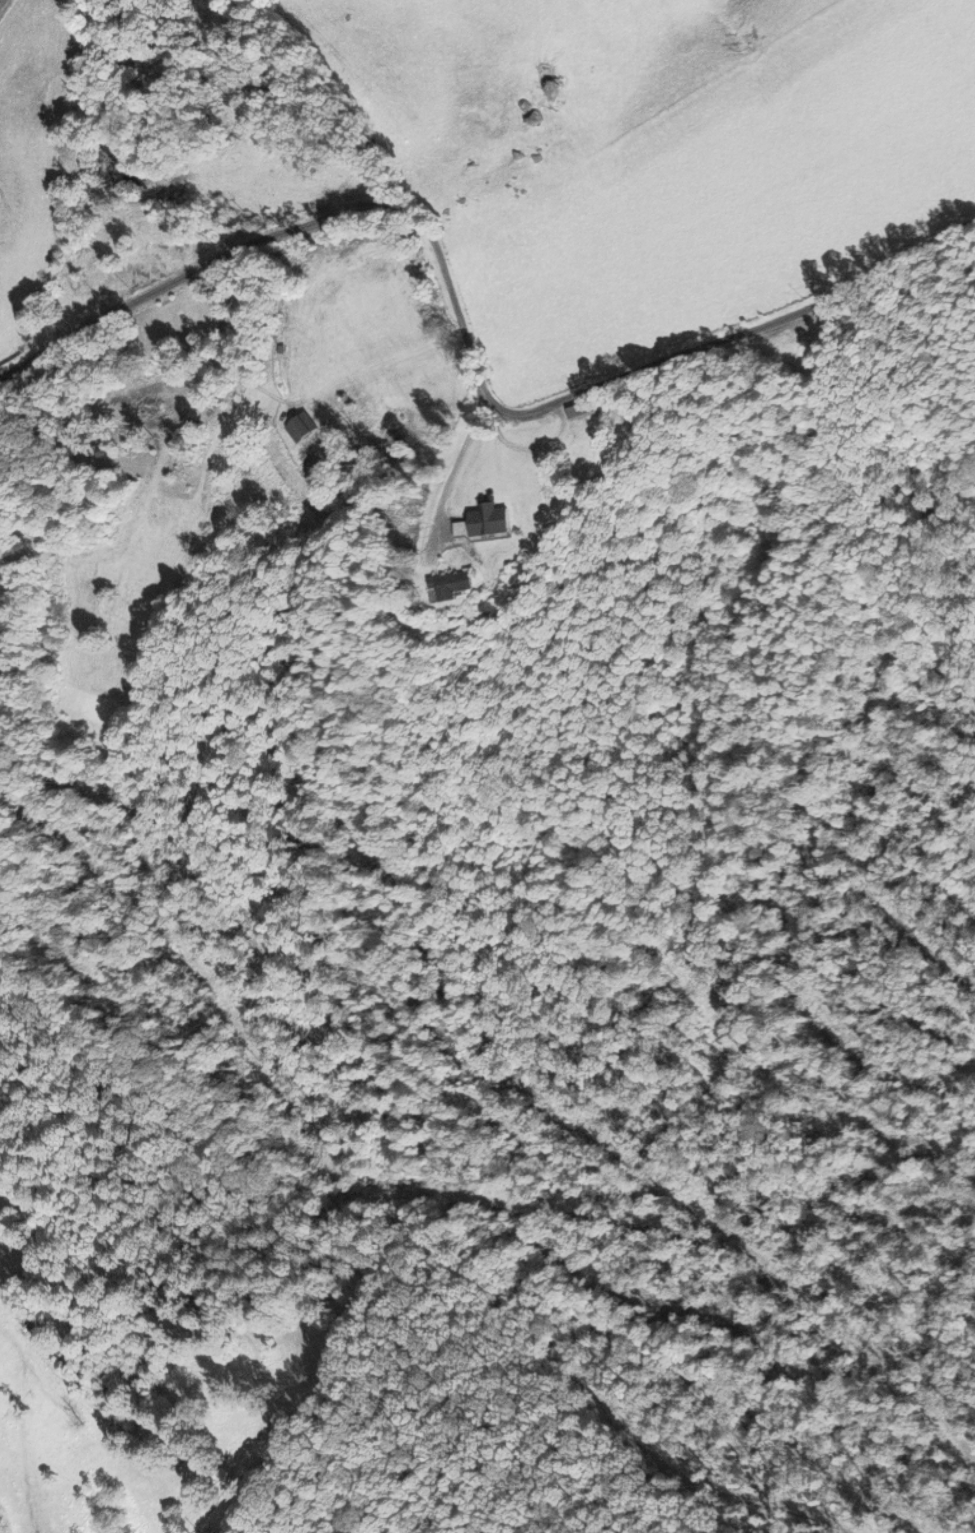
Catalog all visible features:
road: (467, 341)
building: (583, 410)
building: (304, 427)
road: (563, 440)
building: (452, 585)

